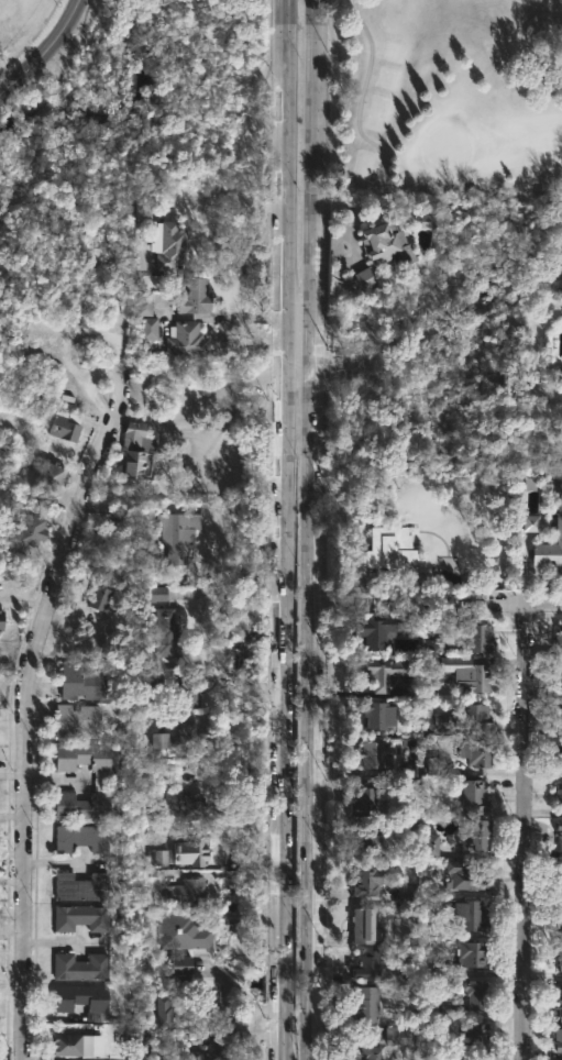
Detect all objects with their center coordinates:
road: (43, 49)
park: (443, 97)
park: (130, 102)
park: (445, 148)
road: (382, 177)
building: (389, 243)
building: (169, 246)
building: (195, 295)
road: (223, 316)
building: (150, 333)
building: (186, 339)
building: (42, 343)
road: (297, 368)
building: (66, 424)
road: (196, 450)
building: (136, 455)
building: (52, 482)
building: (31, 529)
road: (282, 529)
road: (308, 529)
building: (178, 534)
building: (550, 552)
building: (379, 555)
building: (99, 595)
road: (332, 599)
road: (492, 601)
building: (378, 629)
building: (168, 634)
building: (559, 634)
building: (480, 637)
building: (385, 670)
building: (559, 675)
building: (476, 676)
building: (81, 682)
building: (190, 691)
building: (560, 711)
building: (379, 714)
building: (478, 715)
building: (77, 719)
road: (33, 730)
building: (180, 735)
building: (481, 752)
building: (372, 753)
building: (558, 754)
building: (88, 757)
building: (439, 765)
building: (560, 791)
building: (474, 796)
building: (367, 798)
building: (87, 805)
building: (195, 808)
road: (527, 830)
building: (477, 833)
building: (559, 833)
building: (85, 838)
building: (367, 842)
building: (194, 852)
building: (164, 858)
building: (465, 875)
building: (559, 875)
building: (368, 880)
building: (84, 887)
building: (187, 892)
building: (472, 915)
building: (82, 917)
building: (559, 918)
building: (364, 926)
building: (185, 931)
building: (474, 953)
building: (561, 956)
building: (370, 965)
building: (82, 967)
building: (184, 969)
road: (235, 991)
building: (476, 993)
building: (560, 1003)
building: (64, 1004)
building: (367, 1005)
building: (167, 1014)
building: (476, 1034)
building: (399, 1035)
building: (558, 1038)
building: (68, 1045)
building: (219, 1049)
building: (379, 1052)

